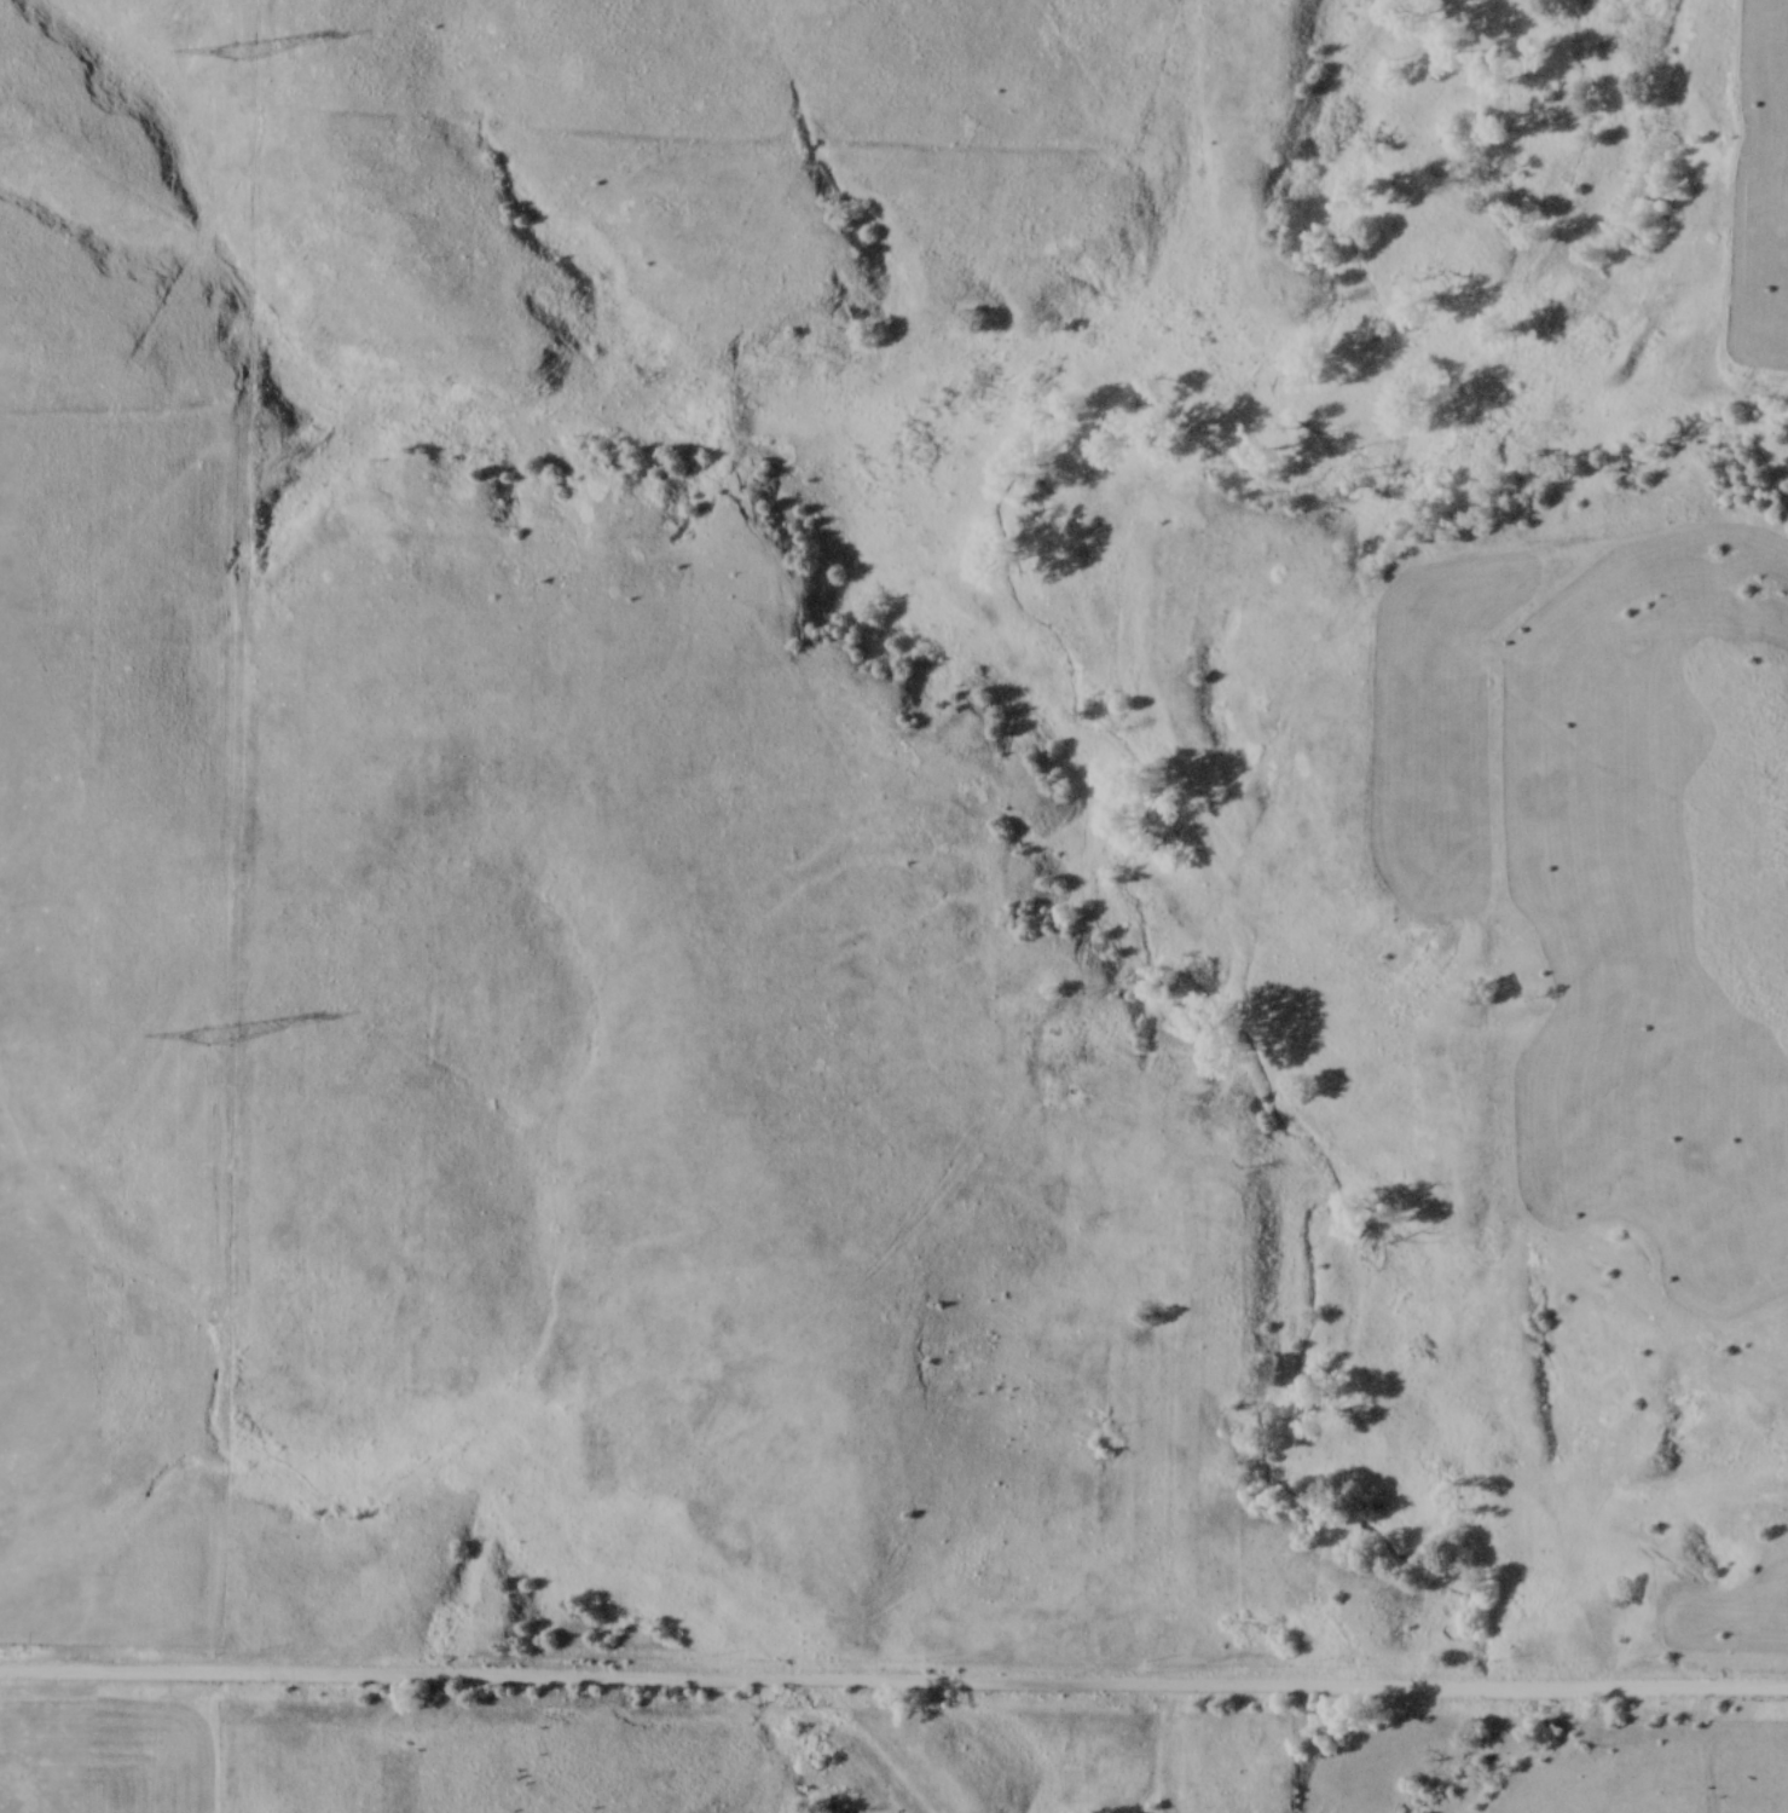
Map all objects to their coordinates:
power tower: (244, 52)
power tower: (216, 1035)
road: (893, 1678)

